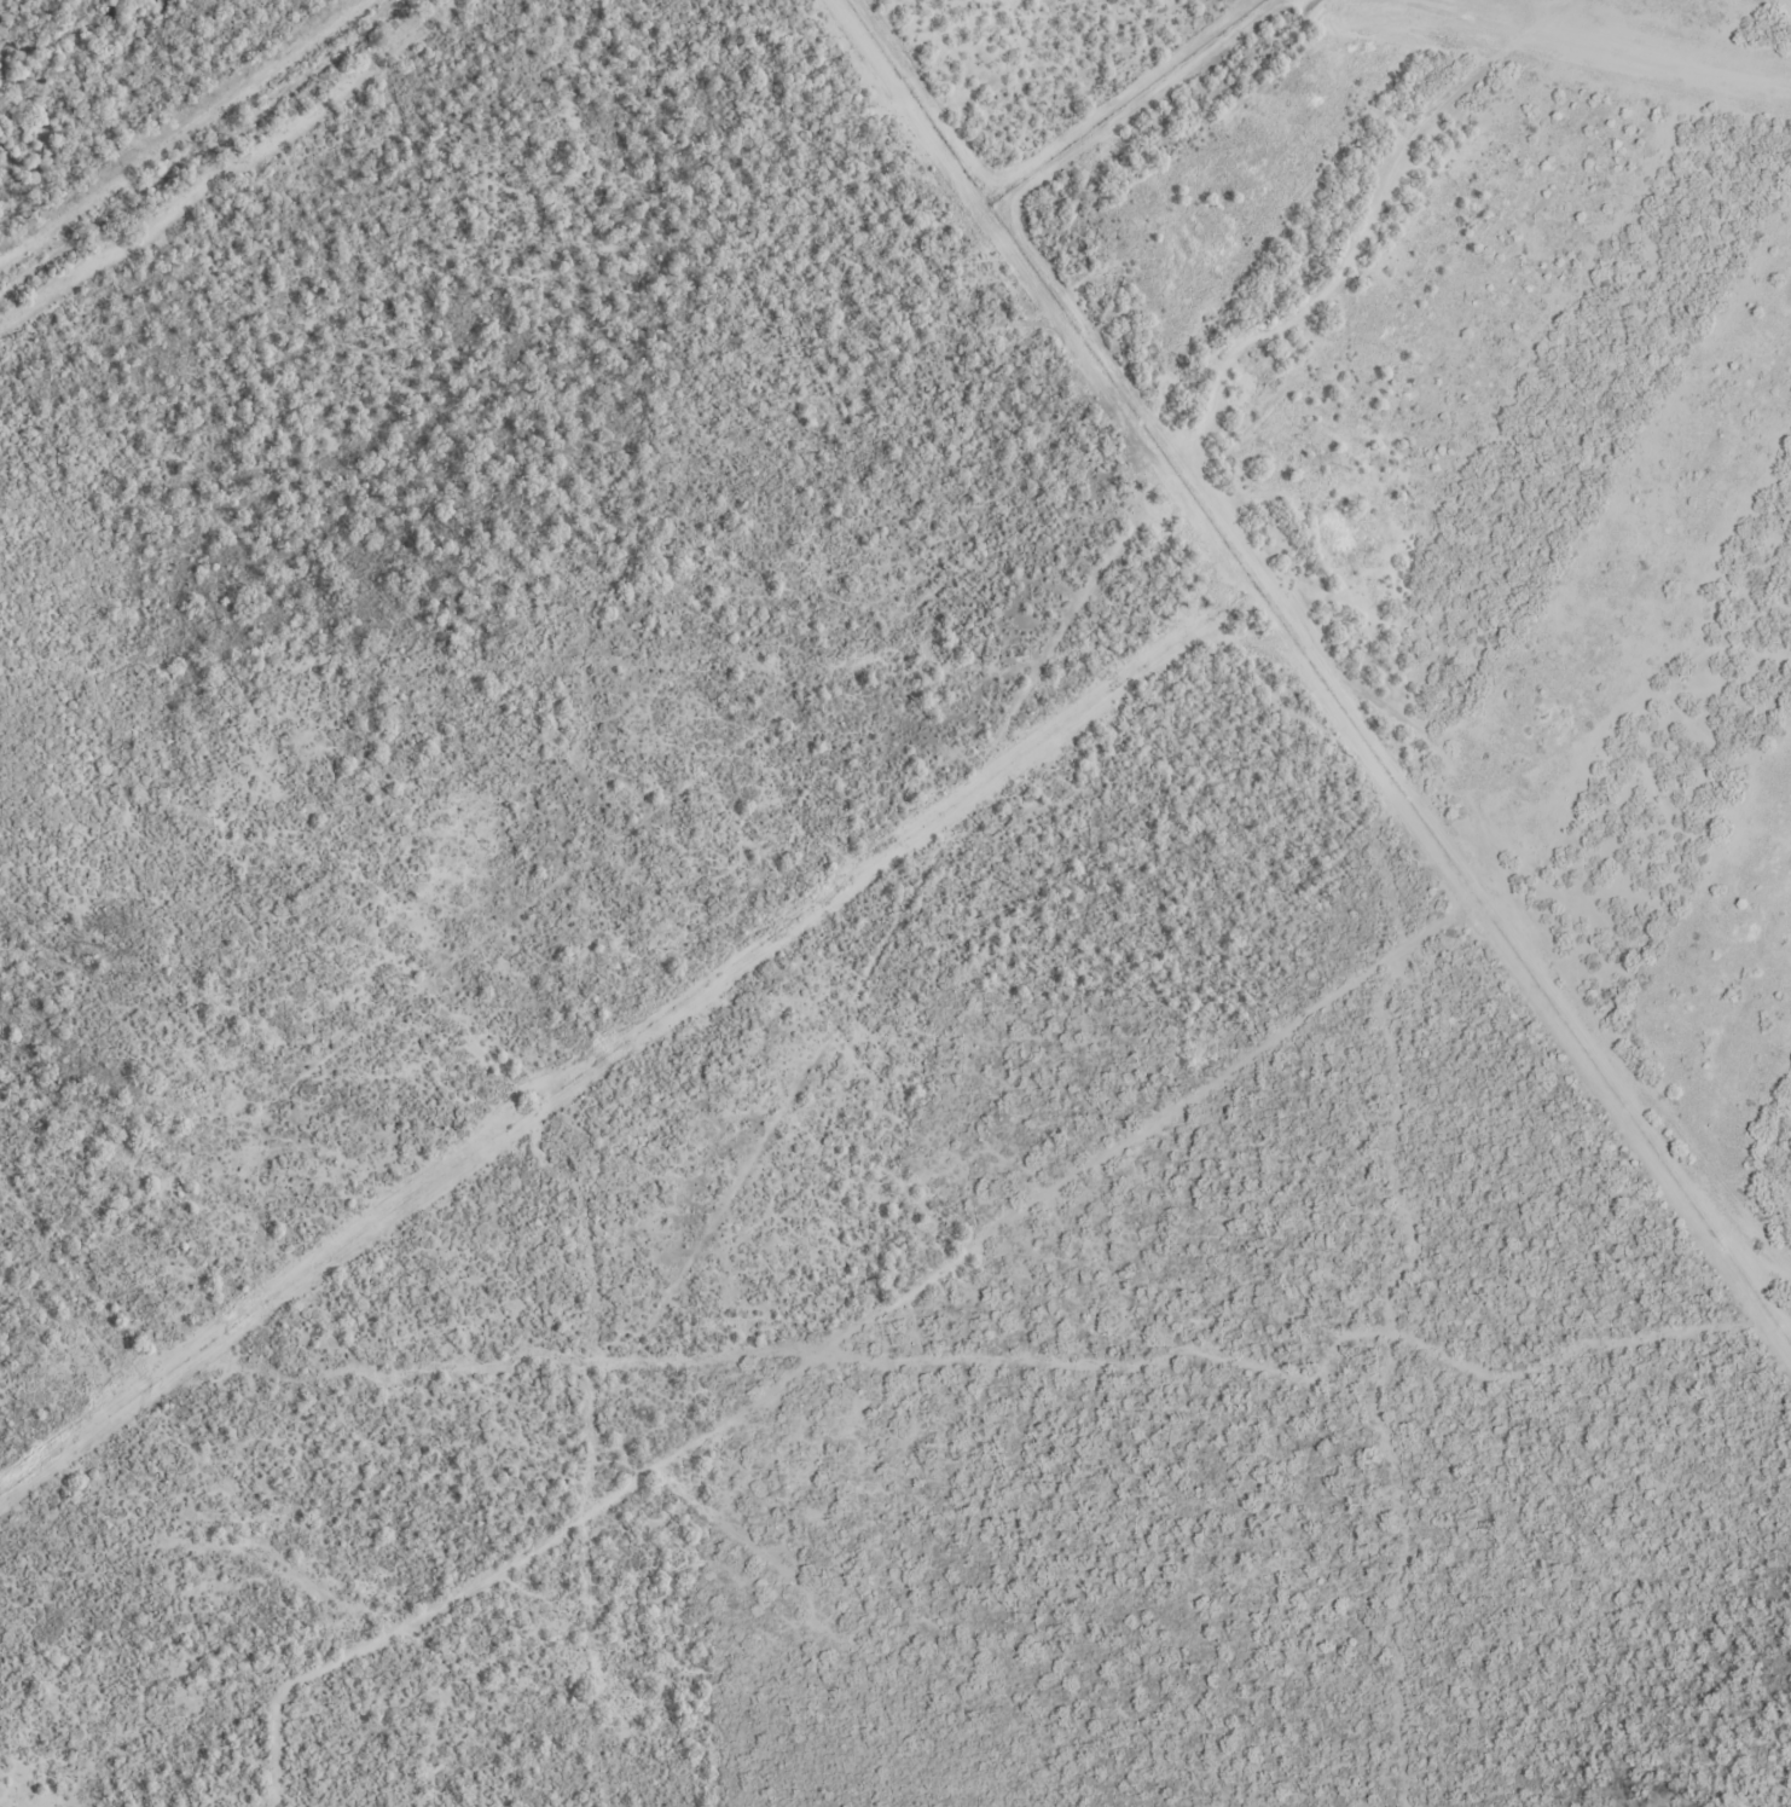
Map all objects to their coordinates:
road: (839, 1023)

